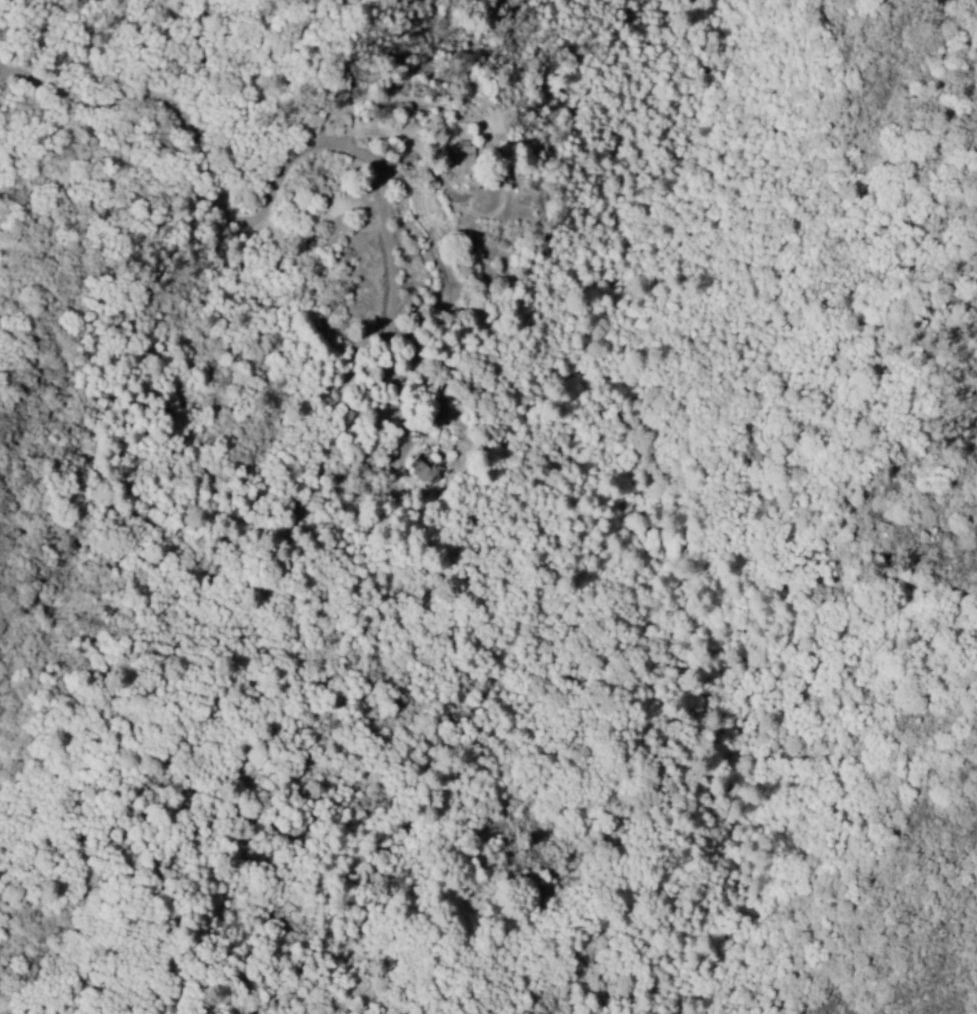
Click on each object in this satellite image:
road: (215, 165)
building: (420, 472)
road: (629, 511)

